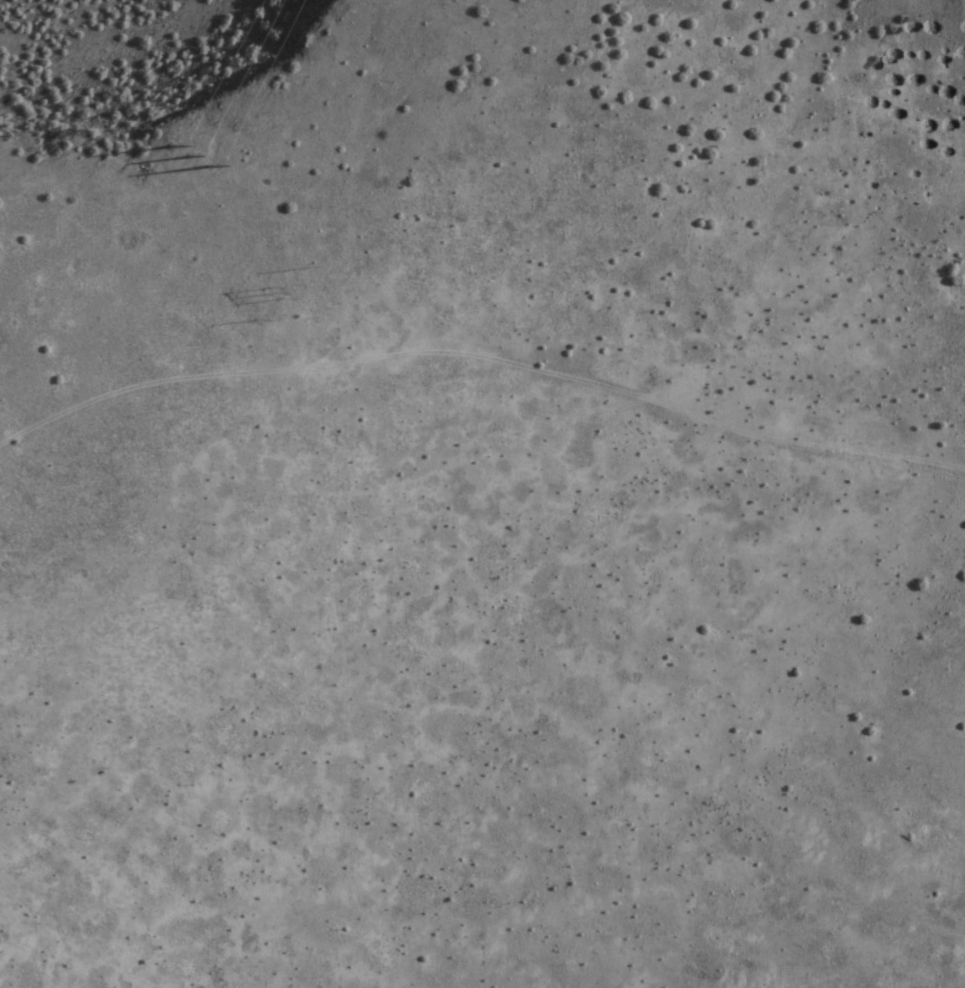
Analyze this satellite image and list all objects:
power tower: (187, 159)
power tower: (278, 300)

